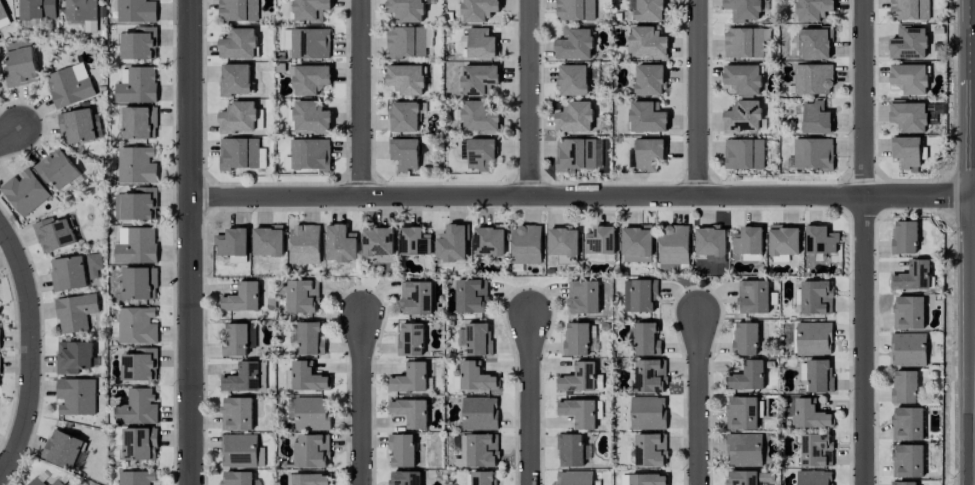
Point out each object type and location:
building: (37, 9)
building: (909, 9)
building: (81, 10)
building: (238, 10)
building: (310, 10)
building: (406, 10)
building: (479, 10)
building: (575, 10)
building: (743, 10)
building: (813, 10)
building: (136, 11)
building: (2, 12)
building: (90, 26)
building: (286, 39)
building: (406, 42)
building: (310, 43)
building: (478, 43)
building: (646, 43)
building: (743, 43)
building: (816, 43)
building: (909, 43)
building: (138, 44)
building: (238, 44)
building: (574, 45)
building: (20, 65)
building: (744, 78)
building: (910, 78)
building: (235, 79)
building: (311, 79)
building: (406, 79)
building: (479, 79)
building: (649, 79)
building: (813, 79)
building: (573, 80)
building: (137, 86)
building: (68, 88)
road: (362, 98)
road: (530, 98)
road: (698, 98)
building: (311, 117)
building: (405, 117)
building: (479, 117)
building: (574, 117)
building: (647, 117)
building: (743, 117)
building: (909, 117)
building: (238, 118)
building: (816, 118)
building: (139, 122)
building: (80, 126)
road: (10, 137)
building: (906, 151)
building: (239, 153)
building: (405, 153)
building: (480, 153)
building: (310, 154)
building: (579, 154)
building: (648, 154)
building: (744, 154)
building: (813, 154)
building: (137, 165)
building: (57, 169)
building: (24, 192)
road: (583, 197)
building: (138, 205)
building: (54, 235)
building: (904, 237)
building: (600, 240)
building: (784, 240)
building: (820, 240)
building: (268, 241)
building: (489, 241)
road: (191, 242)
building: (232, 242)
building: (378, 242)
building: (414, 242)
building: (563, 242)
road: (864, 242)
building: (452, 243)
building: (711, 243)
building: (748, 243)
building: (305, 244)
building: (341, 244)
building: (636, 244)
building: (526, 245)
building: (137, 247)
building: (673, 248)
building: (94, 264)
building: (69, 273)
building: (912, 276)
building: (139, 283)
building: (639, 295)
building: (303, 296)
building: (471, 296)
building: (753, 296)
building: (243, 297)
building: (583, 297)
building: (816, 297)
building: (416, 298)
building: (75, 312)
building: (908, 312)
building: (136, 326)
building: (310, 338)
building: (814, 338)
building: (411, 339)
building: (476, 339)
building: (579, 339)
building: (745, 339)
building: (236, 340)
building: (646, 340)
building: (908, 349)
road: (33, 351)
building: (73, 357)
building: (139, 365)
building: (817, 375)
building: (650, 376)
building: (747, 376)
building: (246, 377)
building: (307, 377)
building: (474, 377)
building: (411, 378)
building: (581, 379)
building: (904, 387)
building: (76, 396)
road: (699, 398)
road: (530, 399)
road: (362, 400)
building: (138, 408)
building: (410, 412)
building: (578, 412)
building: (480, 413)
building: (648, 413)
building: (743, 413)
building: (237, 414)
building: (312, 414)
building: (809, 415)
building: (907, 423)
building: (139, 444)
building: (62, 449)
building: (402, 450)
building: (570, 450)
building: (650, 450)
building: (744, 450)
building: (817, 450)
building: (241, 451)
building: (478, 451)
building: (908, 461)
building: (137, 478)
building: (238, 478)
building: (405, 478)
building: (484, 478)
building: (574, 478)
building: (742, 478)
building: (814, 478)
building: (310, 479)
building: (644, 479)
building: (36, 482)
building: (56, 482)
building: (905, 483)

